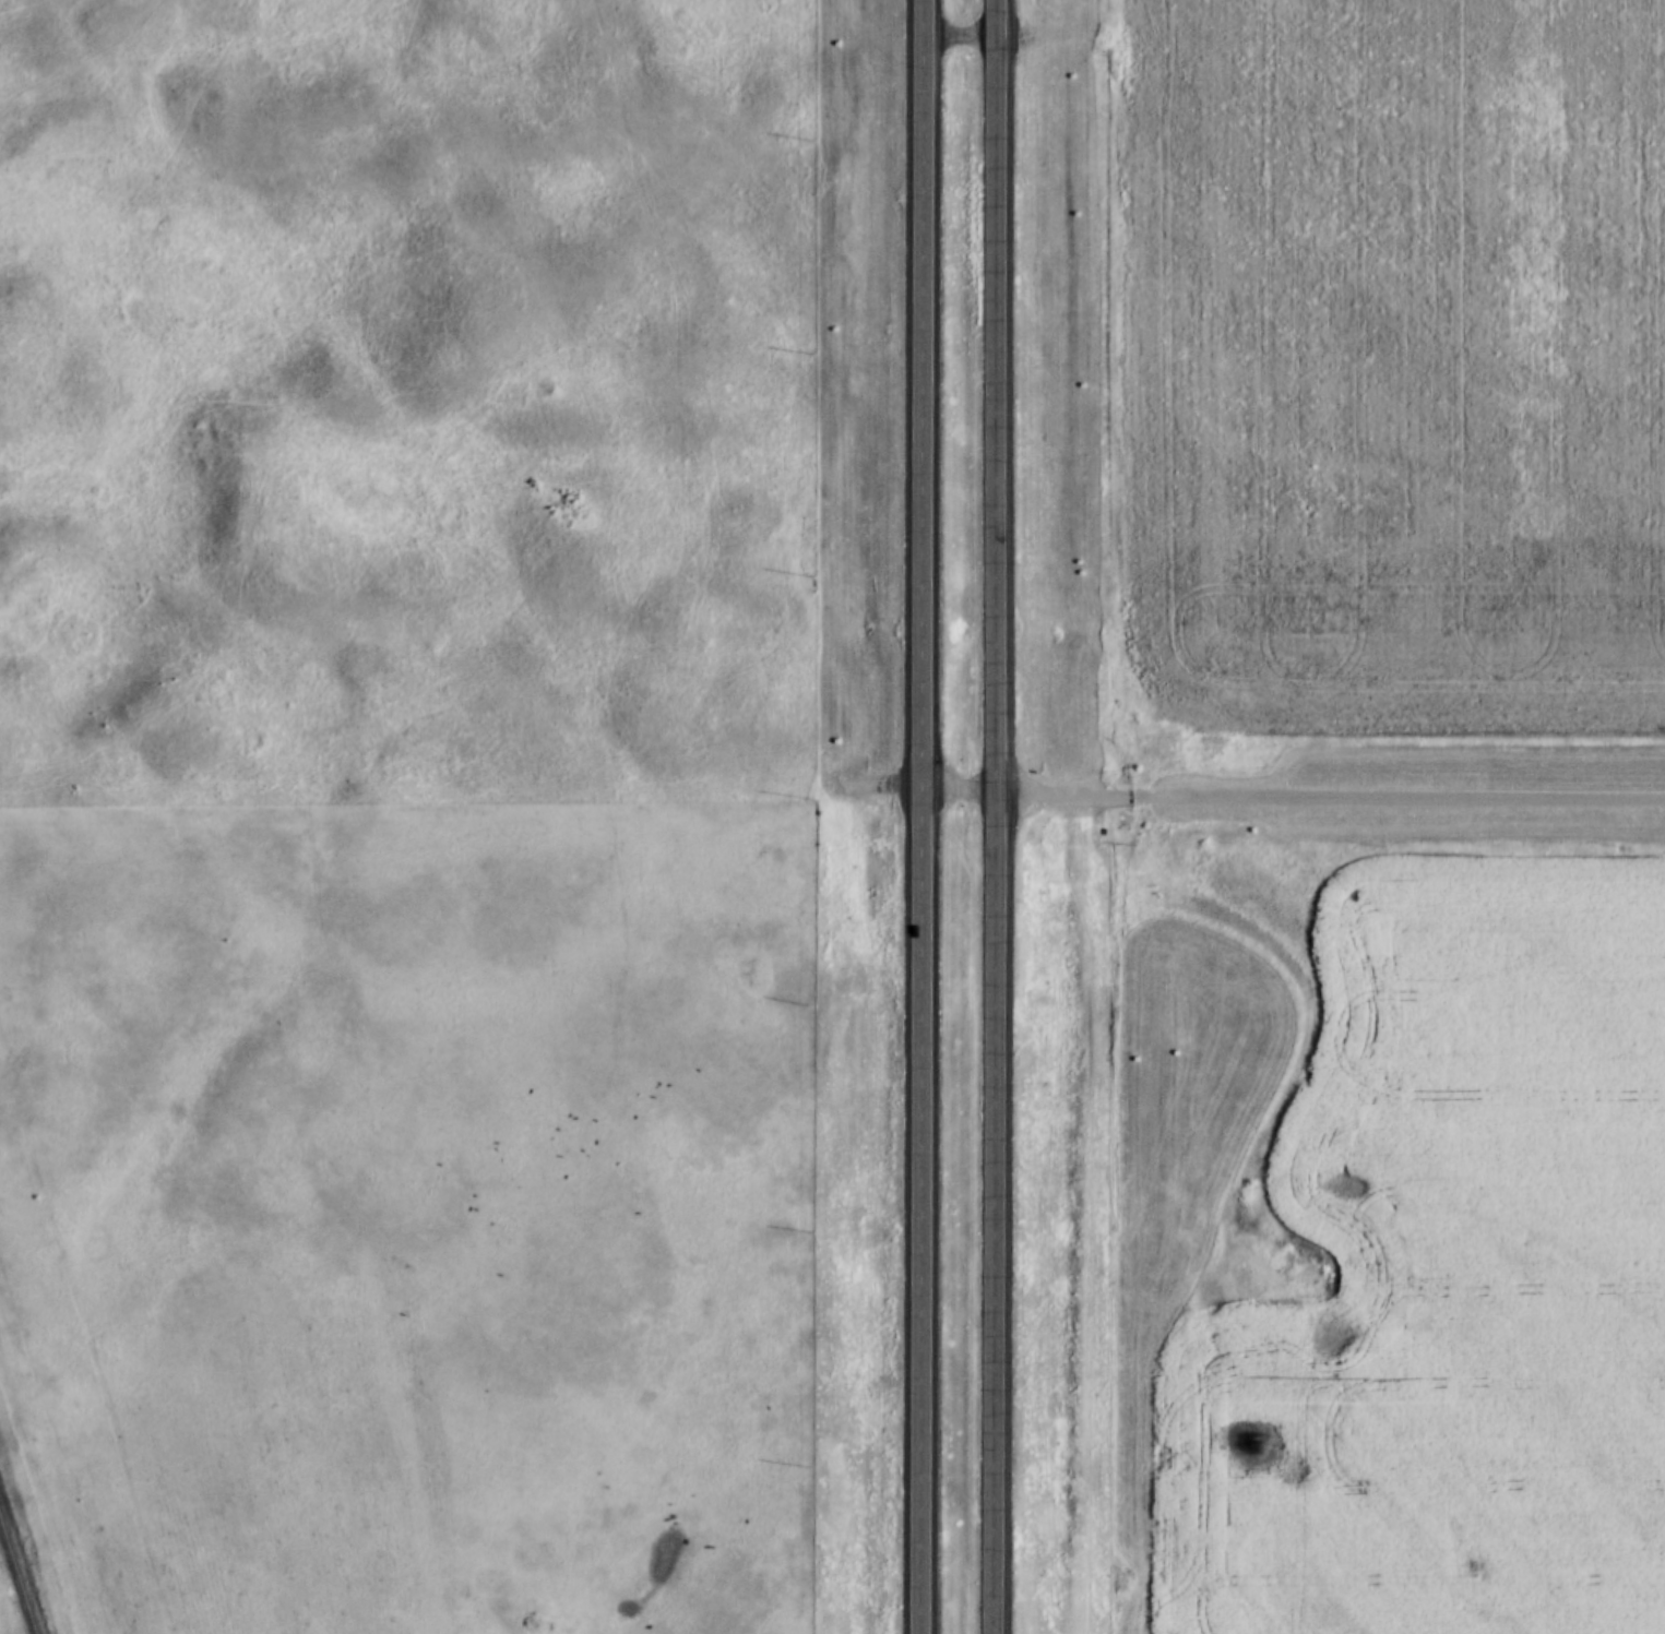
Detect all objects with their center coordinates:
road: (962, 791)
road: (1331, 792)
road: (925, 816)
road: (997, 816)
railway: (29, 1534)

